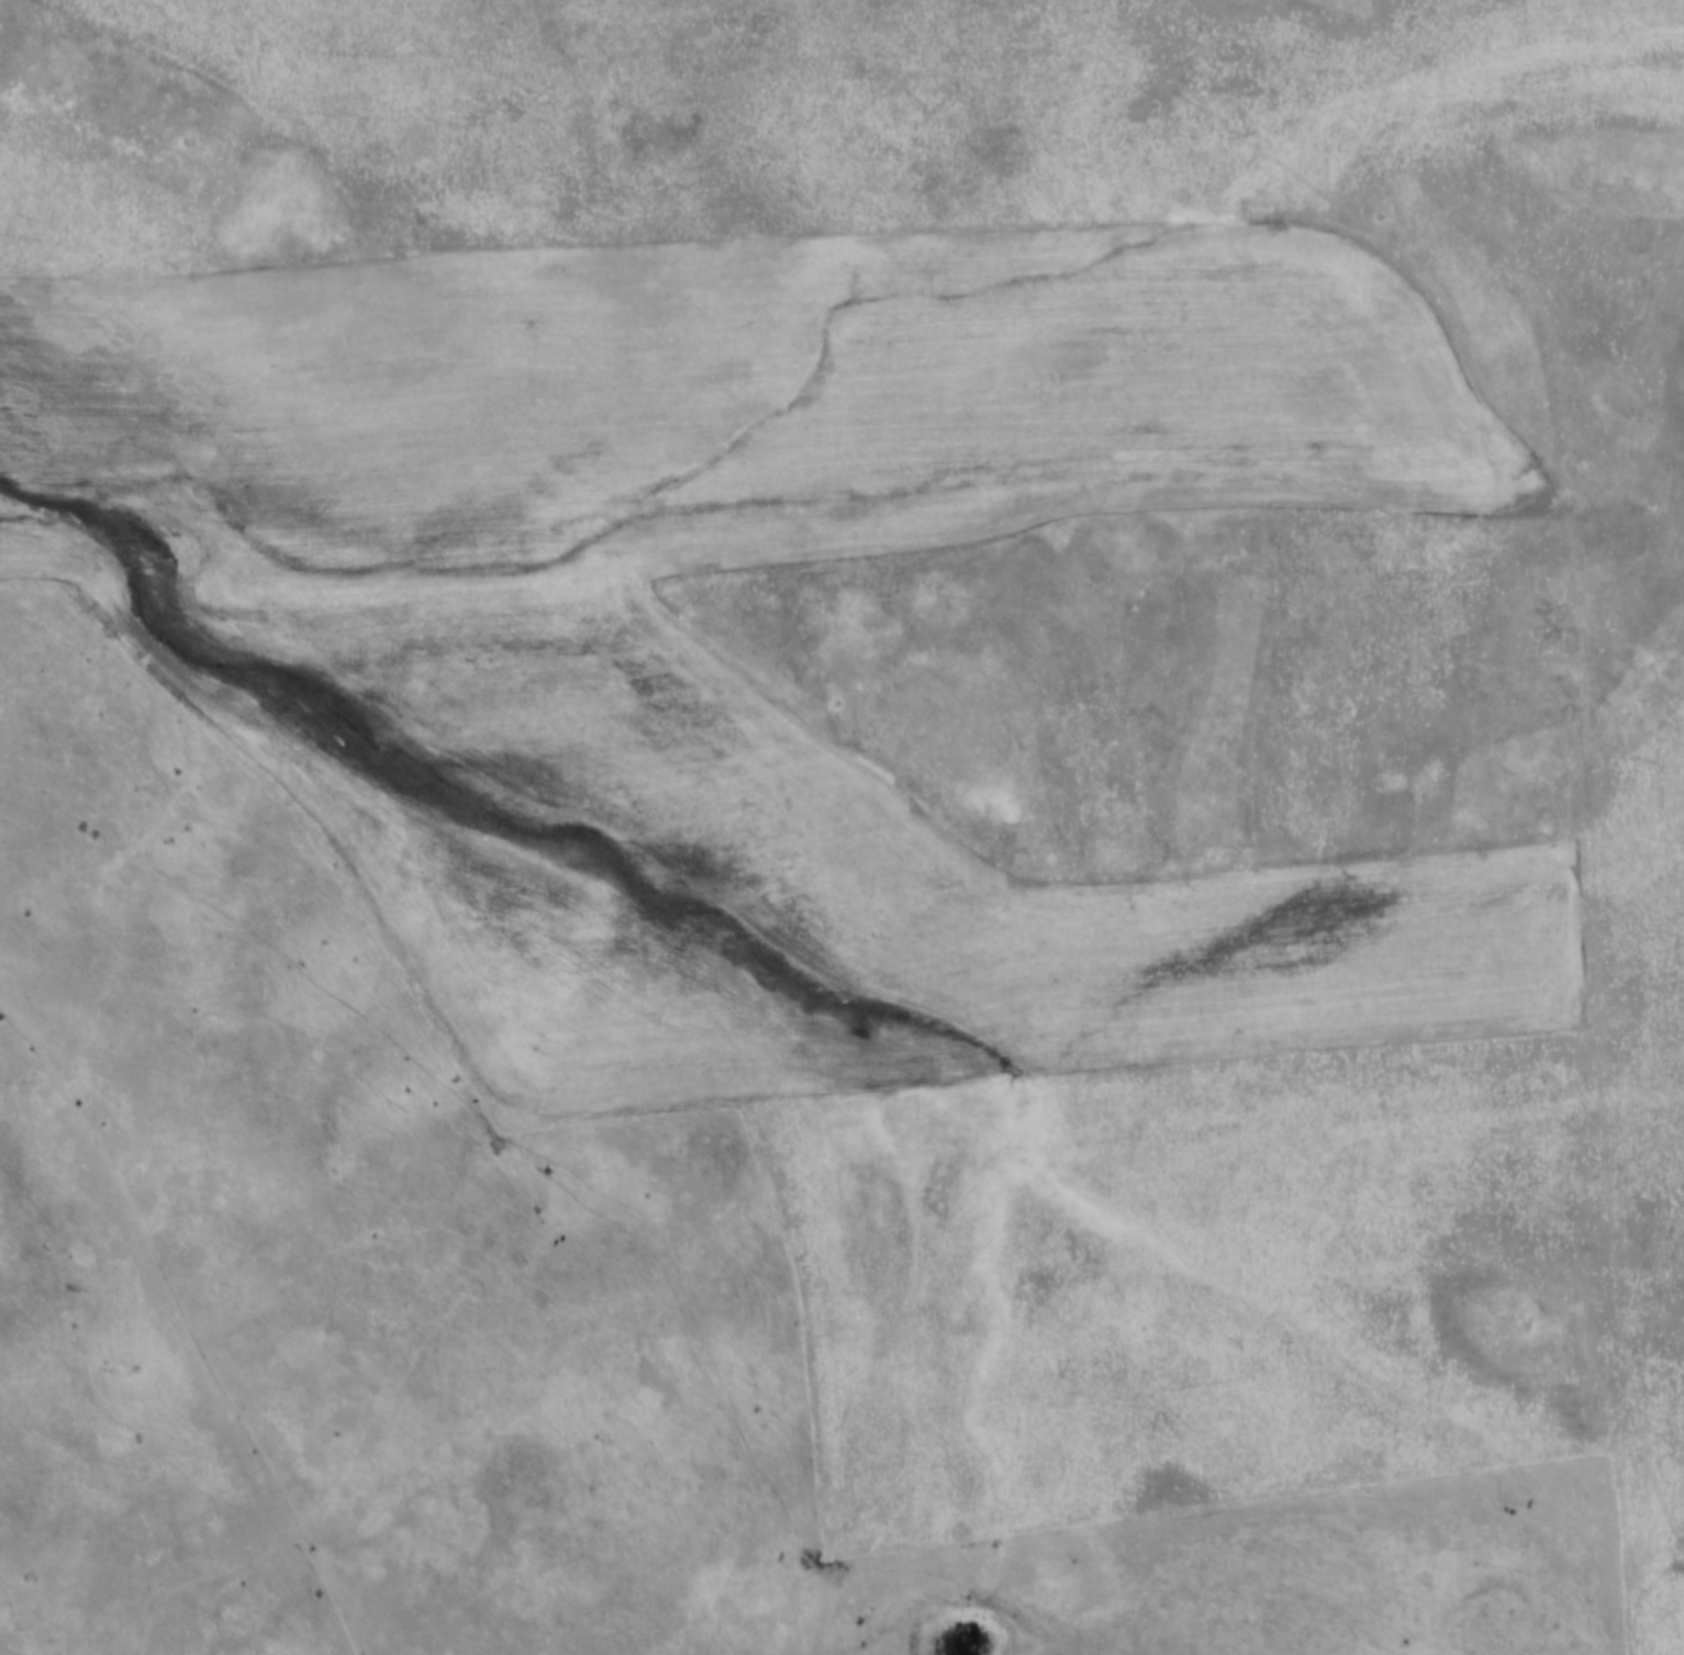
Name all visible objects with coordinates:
road: (188, 1327)

